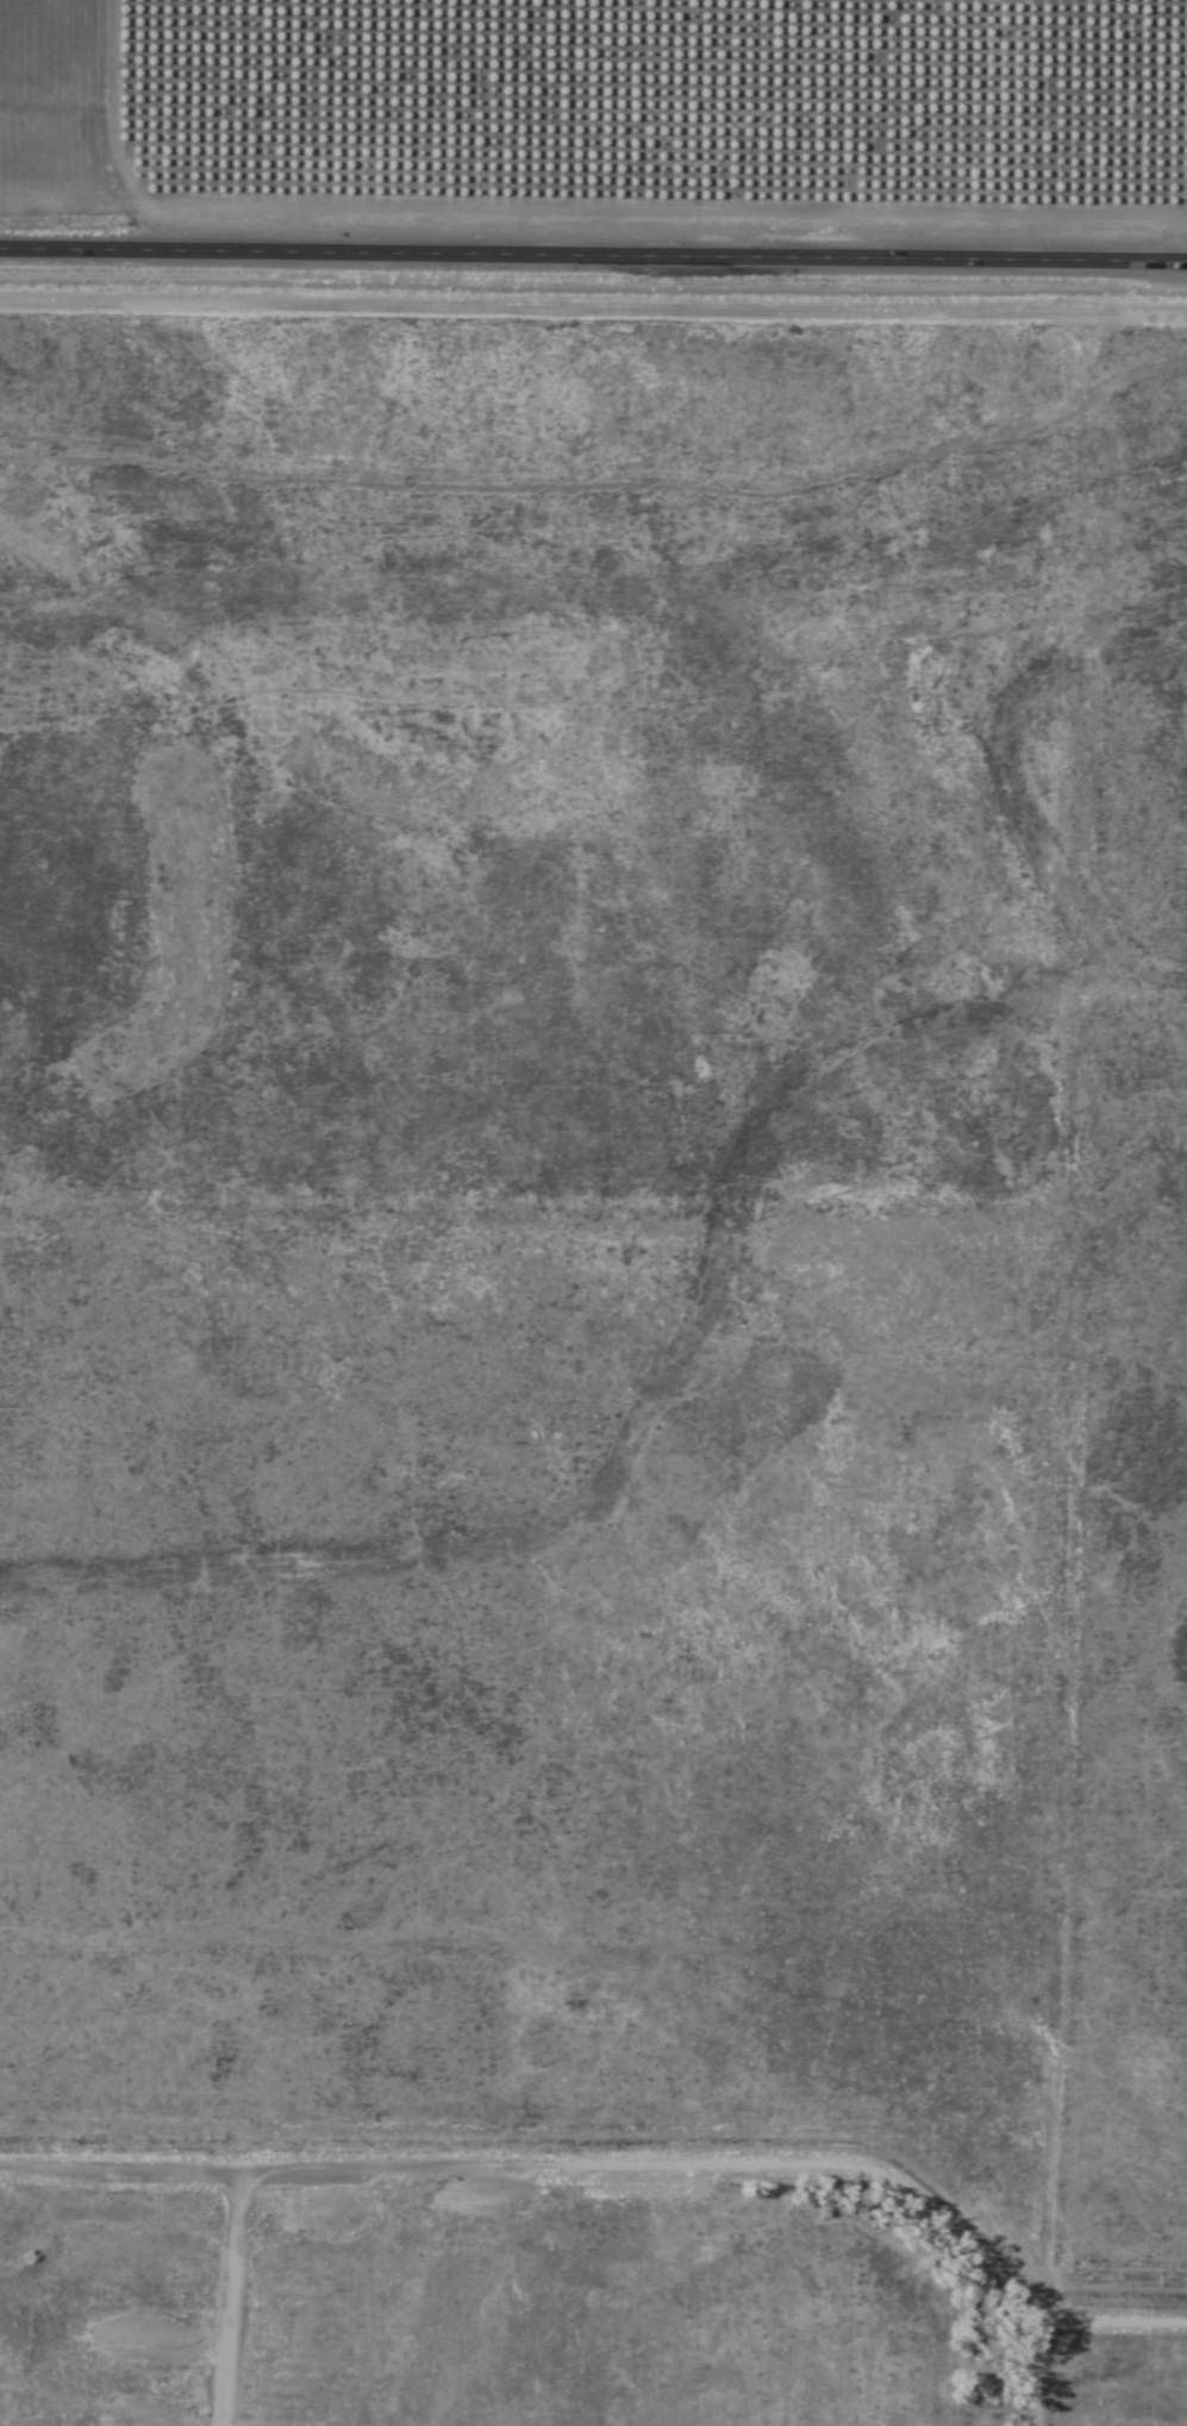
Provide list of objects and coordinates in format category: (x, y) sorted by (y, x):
road: (593, 255)
crop: (593, 1371)

